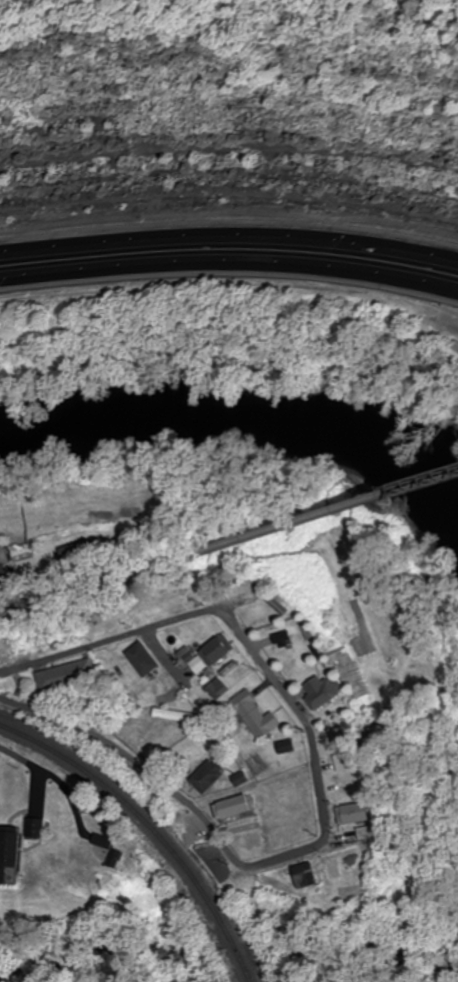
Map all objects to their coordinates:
road: (229, 233)
road: (229, 267)
building: (454, 345)
river: (242, 422)
road: (309, 516)
building: (2, 572)
road: (80, 589)
building: (286, 638)
building: (221, 650)
building: (146, 659)
building: (202, 665)
building: (70, 674)
building: (221, 689)
building: (326, 693)
building: (260, 715)
building: (290, 747)
road: (14, 753)
building: (353, 757)
building: (211, 775)
road: (322, 795)
building: (237, 807)
building: (355, 813)
building: (39, 827)
railway: (152, 827)
building: (254, 840)
building: (106, 841)
building: (10, 853)
building: (119, 858)
building: (357, 873)
building: (307, 875)

